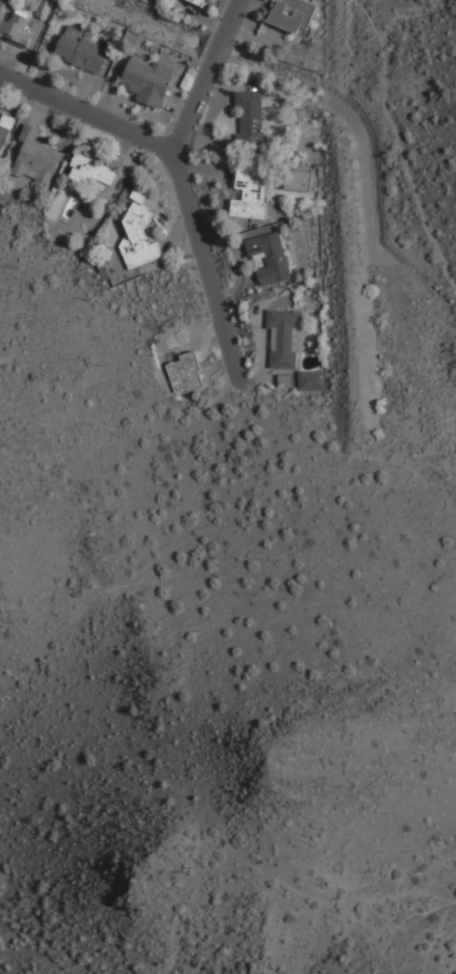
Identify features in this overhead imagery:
building: (200, 2)
road: (234, 8)
building: (293, 15)
building: (15, 23)
road: (220, 41)
building: (83, 48)
building: (148, 79)
road: (87, 111)
building: (252, 117)
building: (5, 129)
road: (395, 140)
building: (37, 158)
building: (93, 172)
building: (299, 178)
building: (252, 191)
building: (138, 195)
road: (195, 225)
building: (139, 237)
building: (271, 257)
building: (286, 337)
building: (185, 372)
building: (286, 378)
building: (311, 379)
road: (346, 454)
park: (174, 662)
road: (437, 947)

